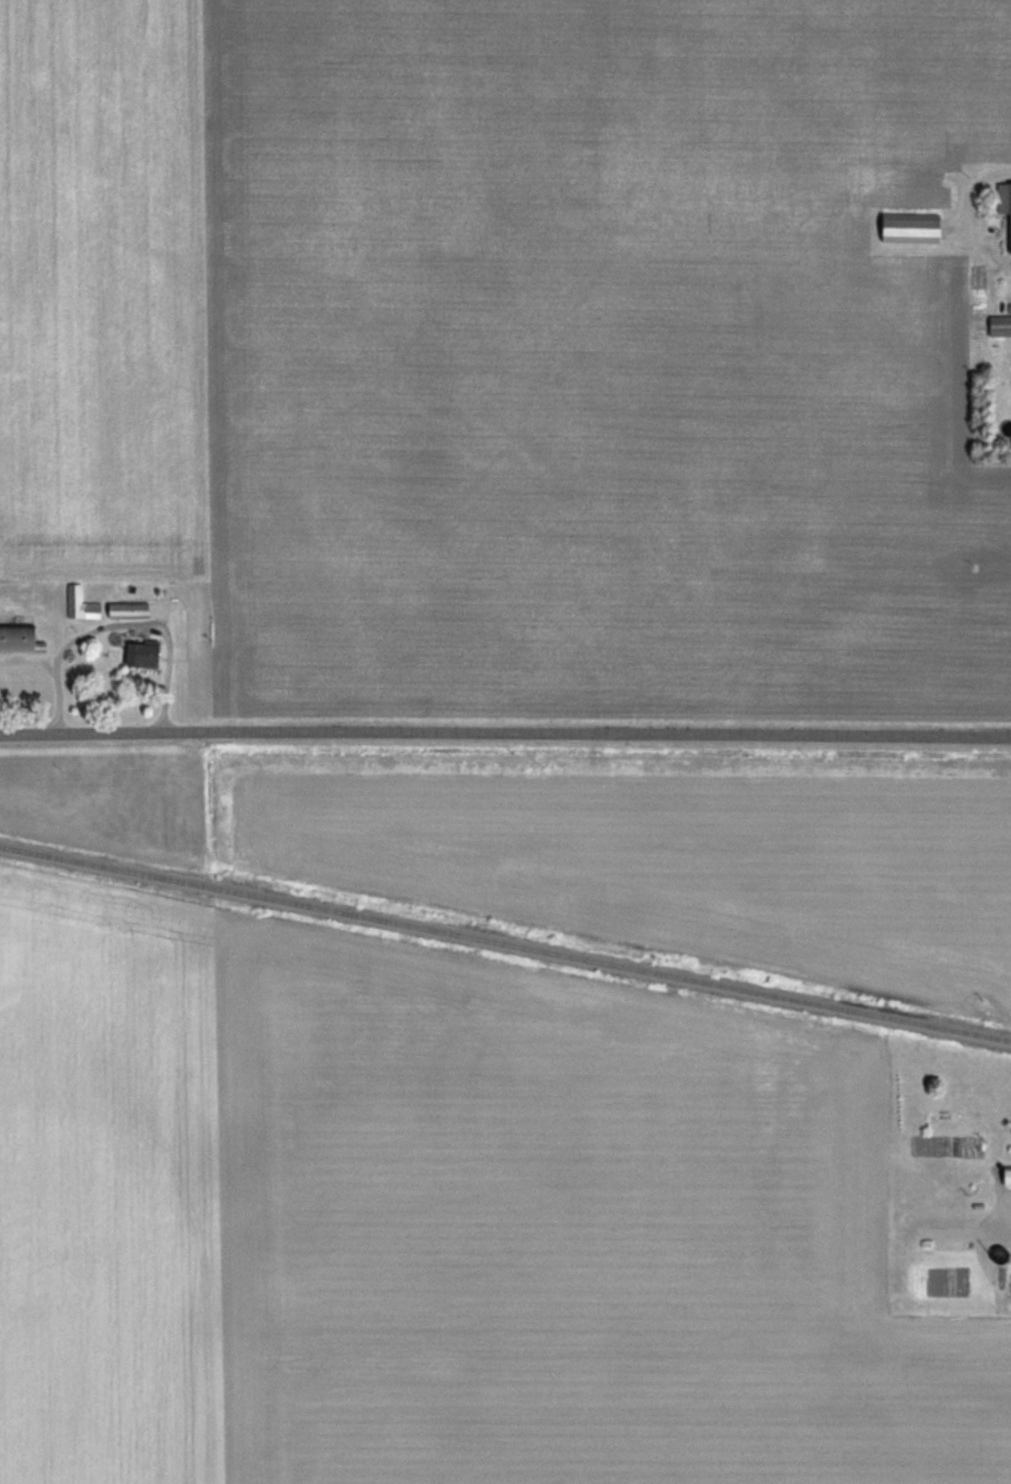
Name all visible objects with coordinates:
building: (1000, 211)
building: (907, 226)
building: (999, 325)
building: (80, 603)
building: (126, 609)
building: (18, 638)
building: (139, 654)
road: (505, 739)
railway: (505, 943)
building: (1005, 1175)
building: (947, 1239)

